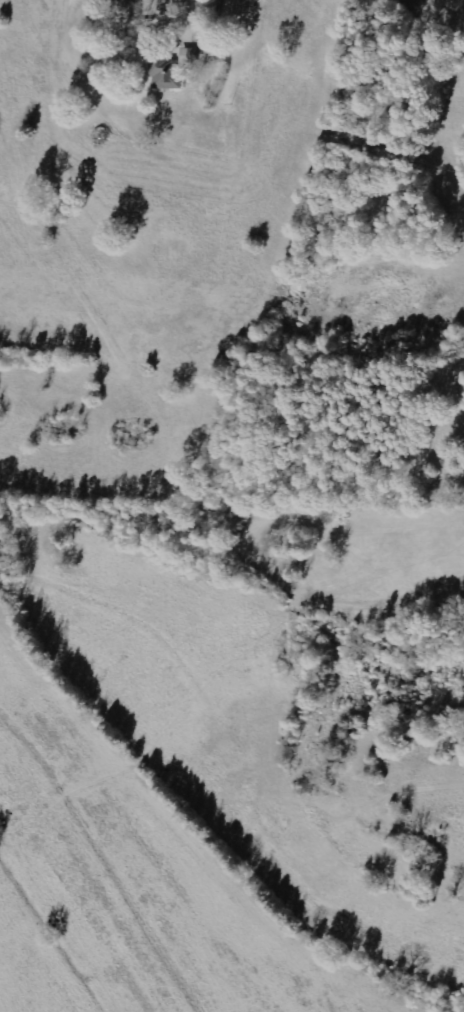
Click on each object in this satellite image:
building: (188, 55)
road: (161, 65)
building: (165, 72)

